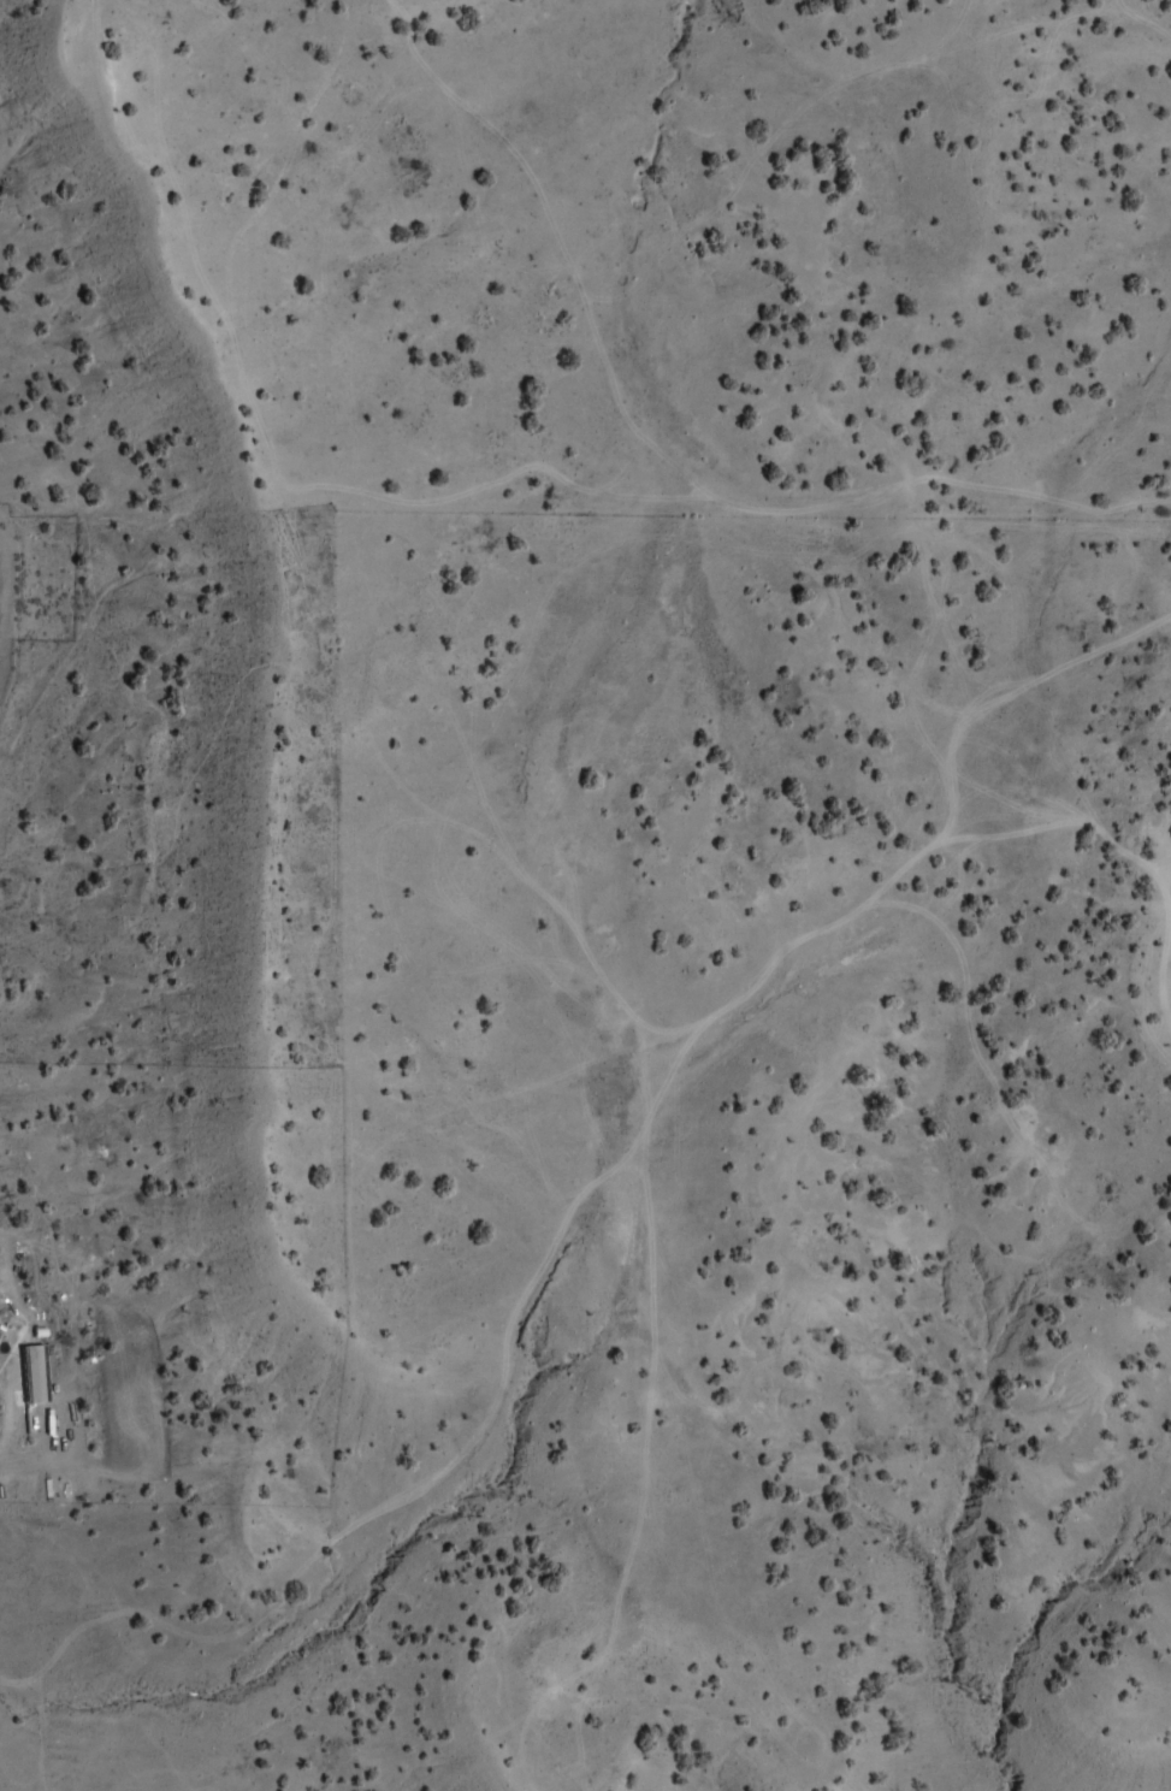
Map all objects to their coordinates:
road: (566, 256)
building: (36, 1375)

